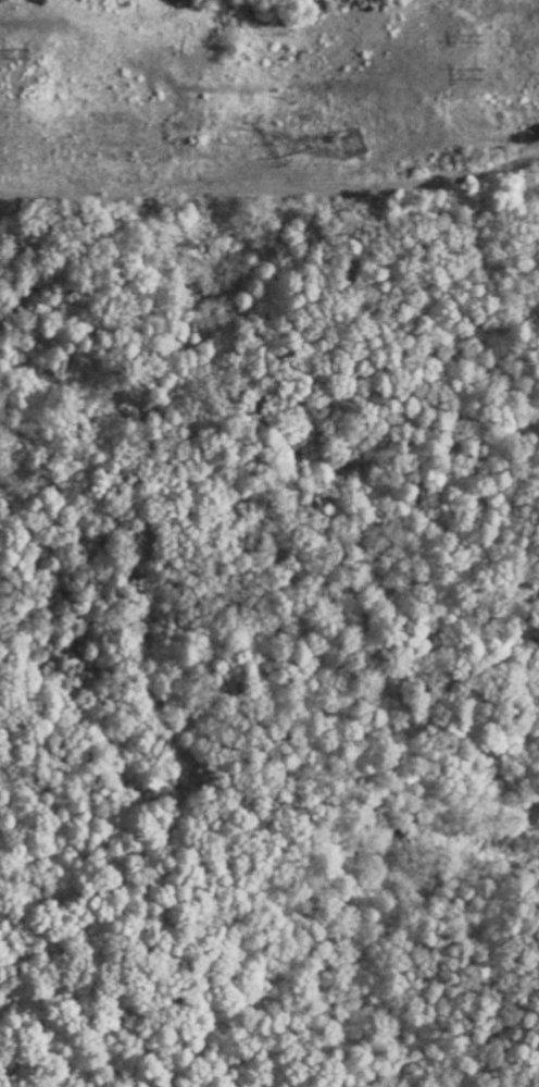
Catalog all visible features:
power tower: (480, 36)
power tower: (22, 51)
power tower: (480, 72)
power tower: (347, 144)

